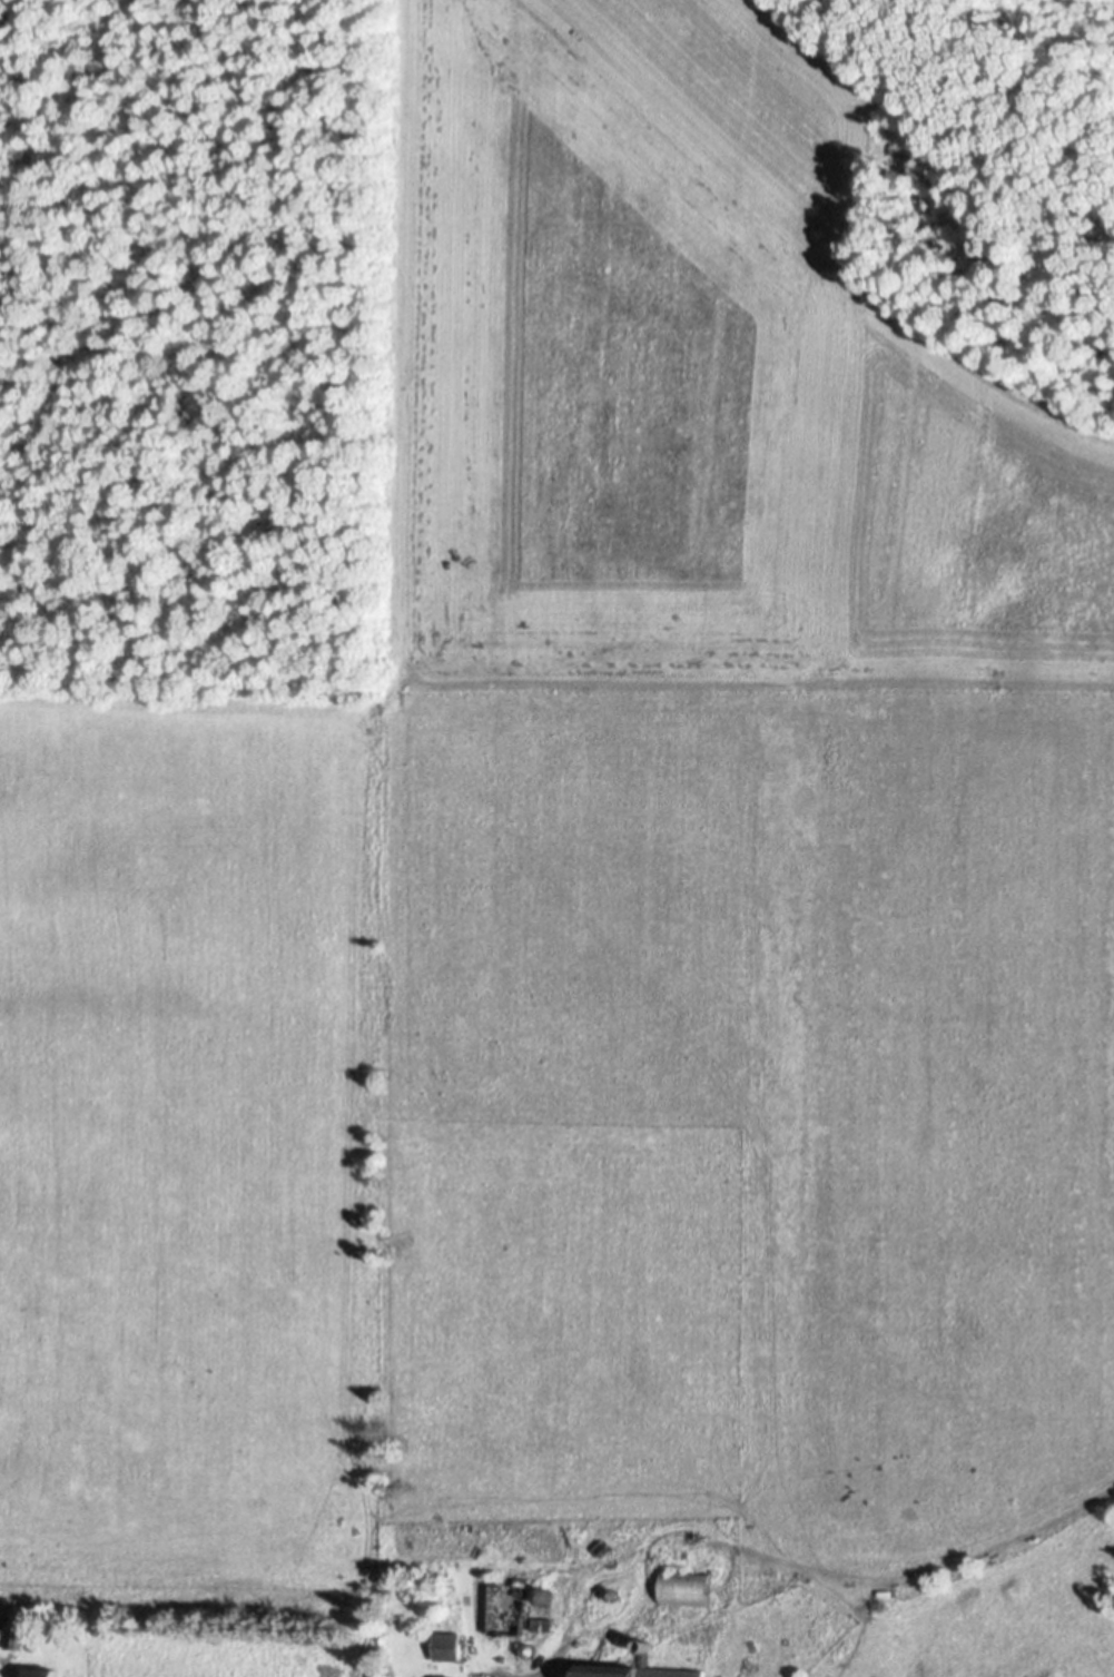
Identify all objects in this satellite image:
building: (520, 1578)
building: (686, 1585)
building: (887, 1590)
building: (613, 1592)
building: (543, 1595)
building: (507, 1607)
building: (4, 1618)
building: (543, 1621)
building: (16, 1637)
building: (448, 1644)
building: (529, 1648)
road: (546, 1658)
building: (575, 1664)
building: (639, 1669)
building: (42, 1671)
building: (442, 1675)

